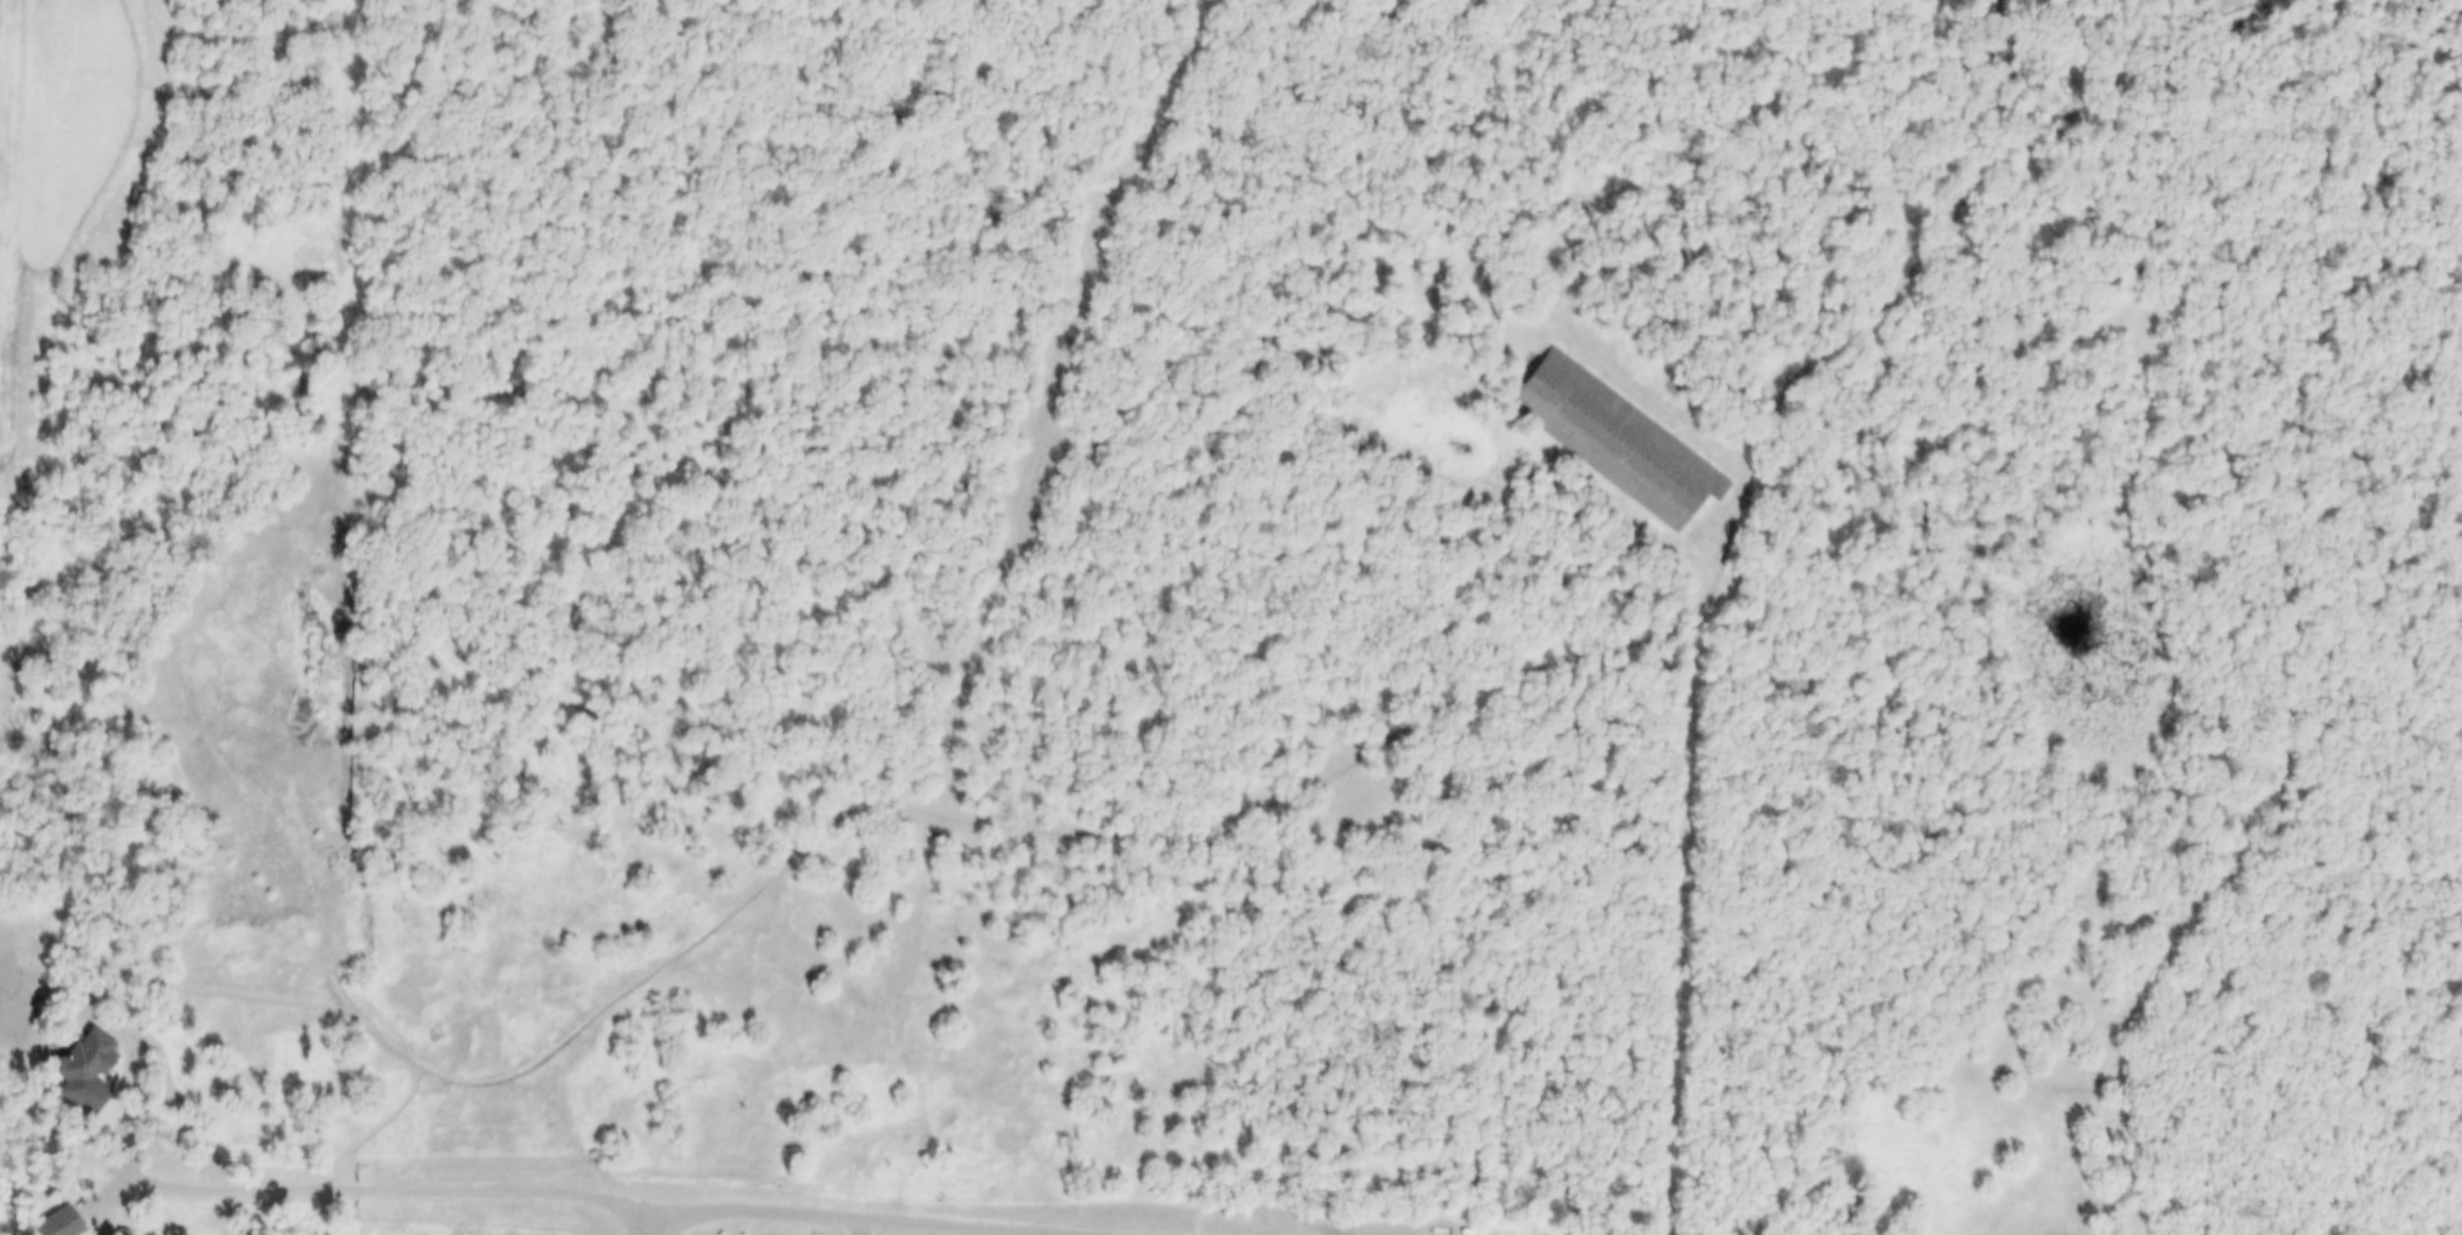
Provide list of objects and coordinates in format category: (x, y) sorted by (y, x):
building: (1662, 386)
building: (1606, 437)
road: (876, 801)
road: (1687, 1020)
building: (472, 1044)
building: (72, 1066)
road: (581, 1141)
road: (112, 1171)
road: (379, 1190)
road: (868, 1218)
road: (646, 1220)
building: (46, 1222)

